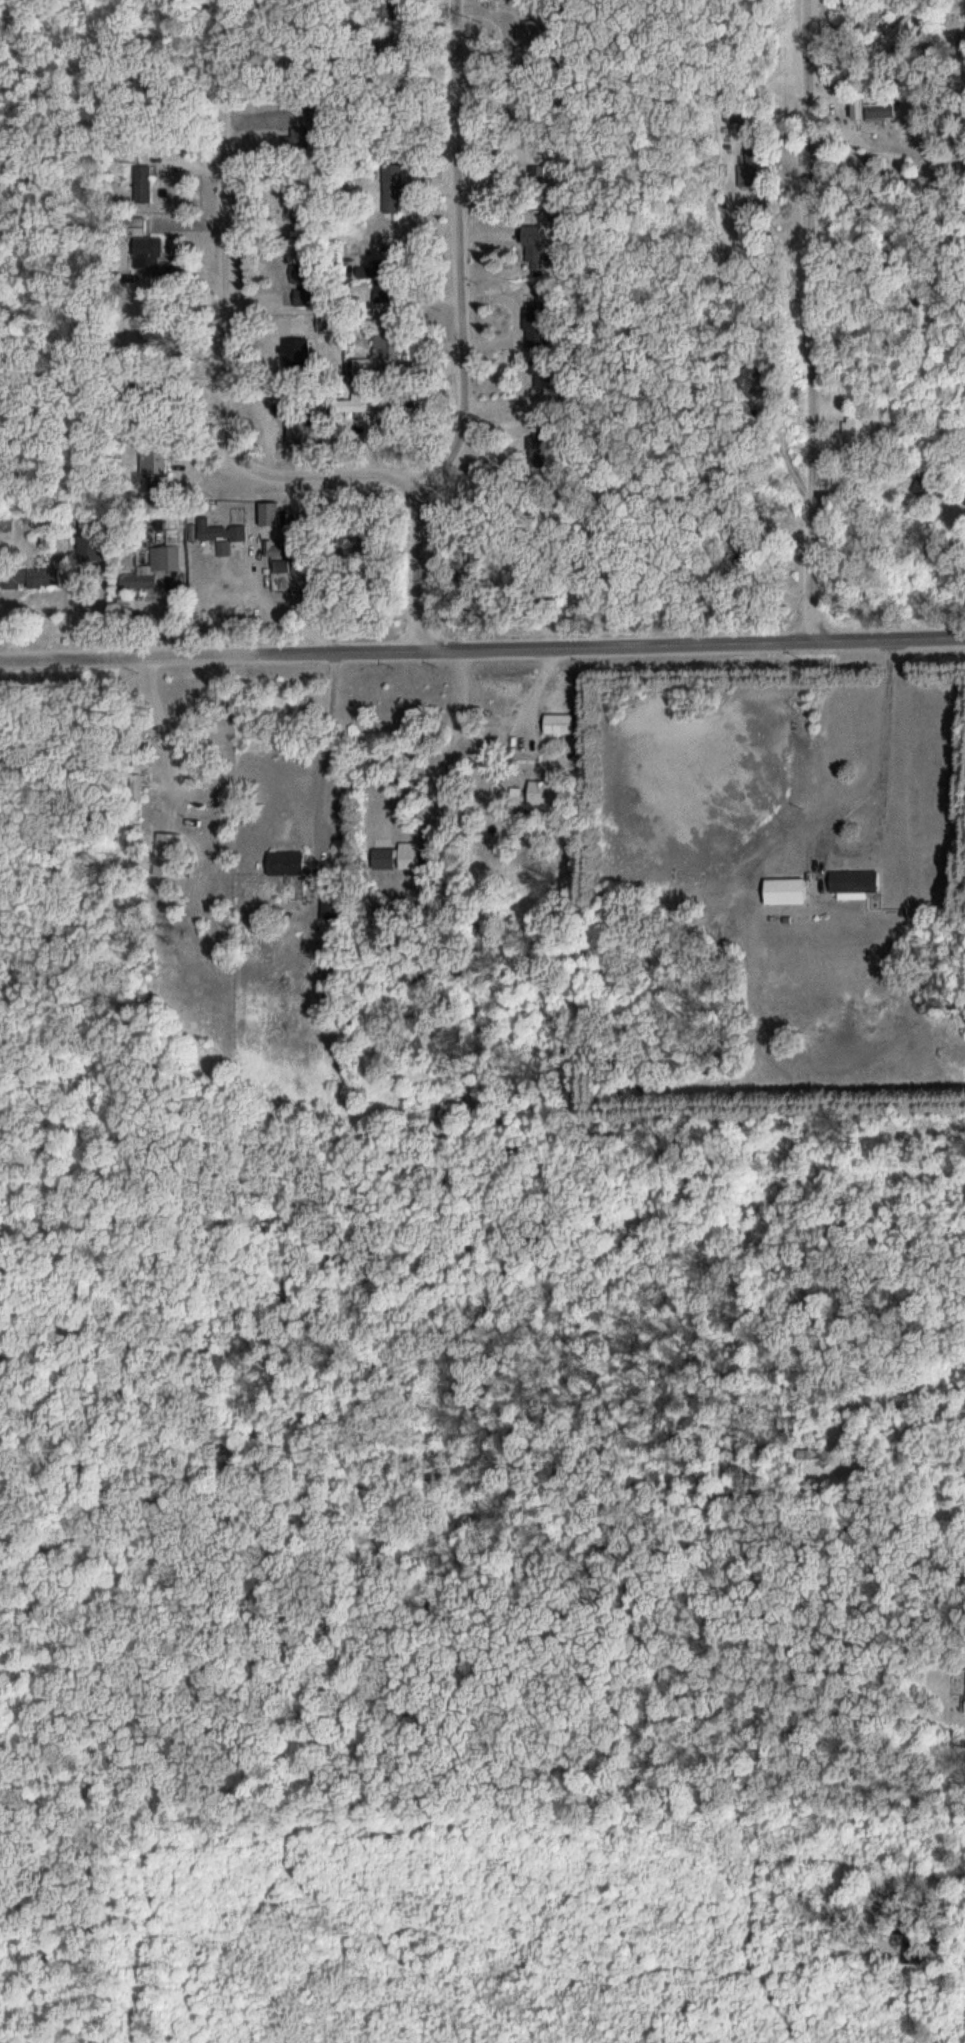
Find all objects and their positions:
building: (903, 31)
building: (874, 114)
building: (131, 153)
building: (752, 169)
building: (146, 184)
building: (396, 189)
road: (467, 251)
road: (812, 320)
building: (328, 324)
road: (234, 328)
building: (305, 351)
building: (367, 372)
building: (857, 432)
building: (926, 491)
building: (218, 530)
building: (93, 554)
building: (173, 557)
road: (423, 564)
building: (51, 572)
building: (143, 580)
road: (482, 648)
building: (561, 724)
building: (549, 793)
building: (207, 814)
building: (170, 855)
building: (385, 859)
building: (412, 859)
building: (288, 864)
road: (922, 880)
building: (856, 882)
road: (903, 1005)
road: (471, 1513)

